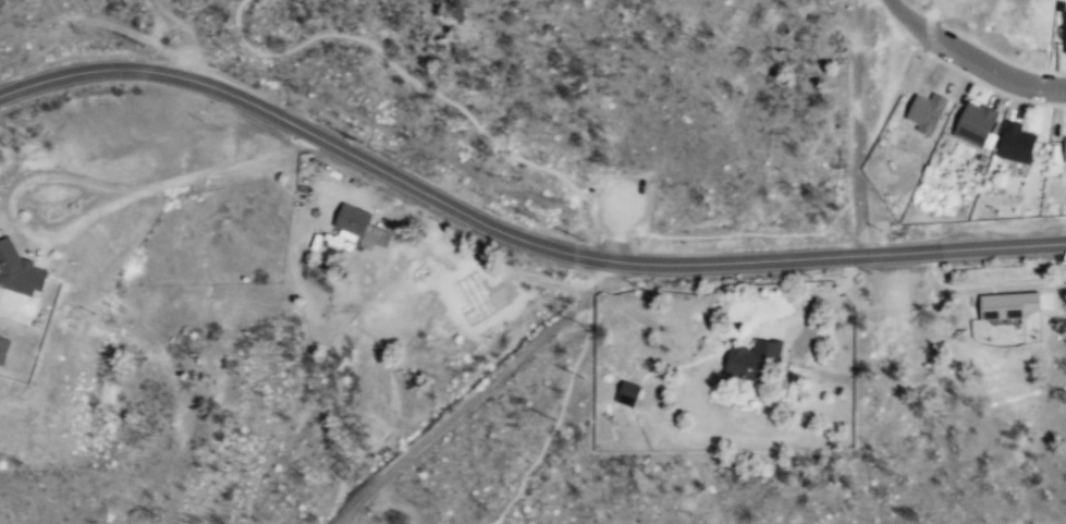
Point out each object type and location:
building: (1033, 27)
building: (1062, 39)
road: (969, 63)
road: (432, 90)
building: (926, 112)
building: (975, 123)
road: (855, 126)
building: (1015, 142)
building: (1065, 151)
road: (585, 192)
parking lot: (622, 204)
building: (362, 226)
road: (514, 234)
road: (295, 241)
building: (20, 269)
building: (1010, 303)
building: (4, 349)
building: (753, 358)
road: (566, 397)
road: (462, 407)
road: (291, 416)

